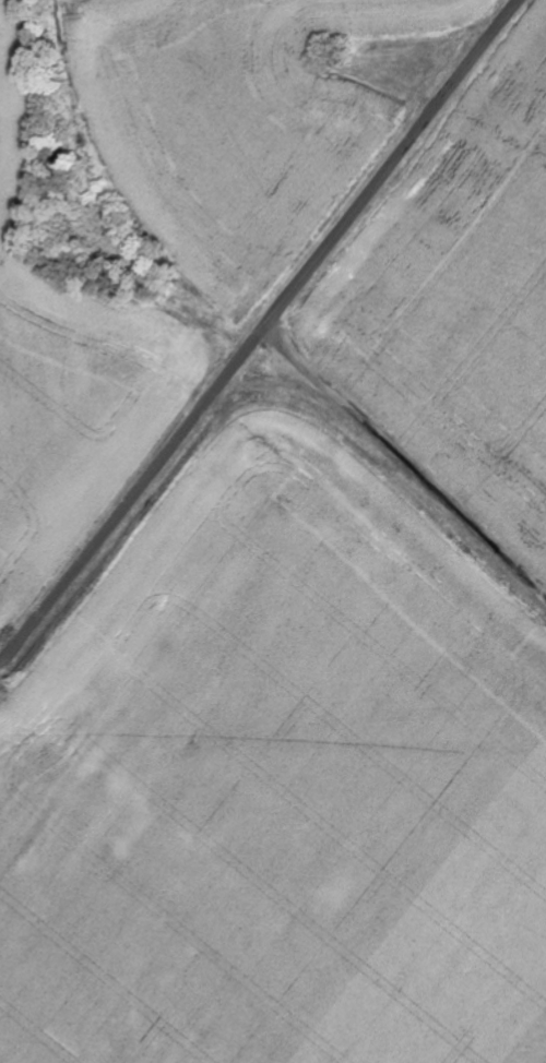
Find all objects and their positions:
road: (261, 332)

